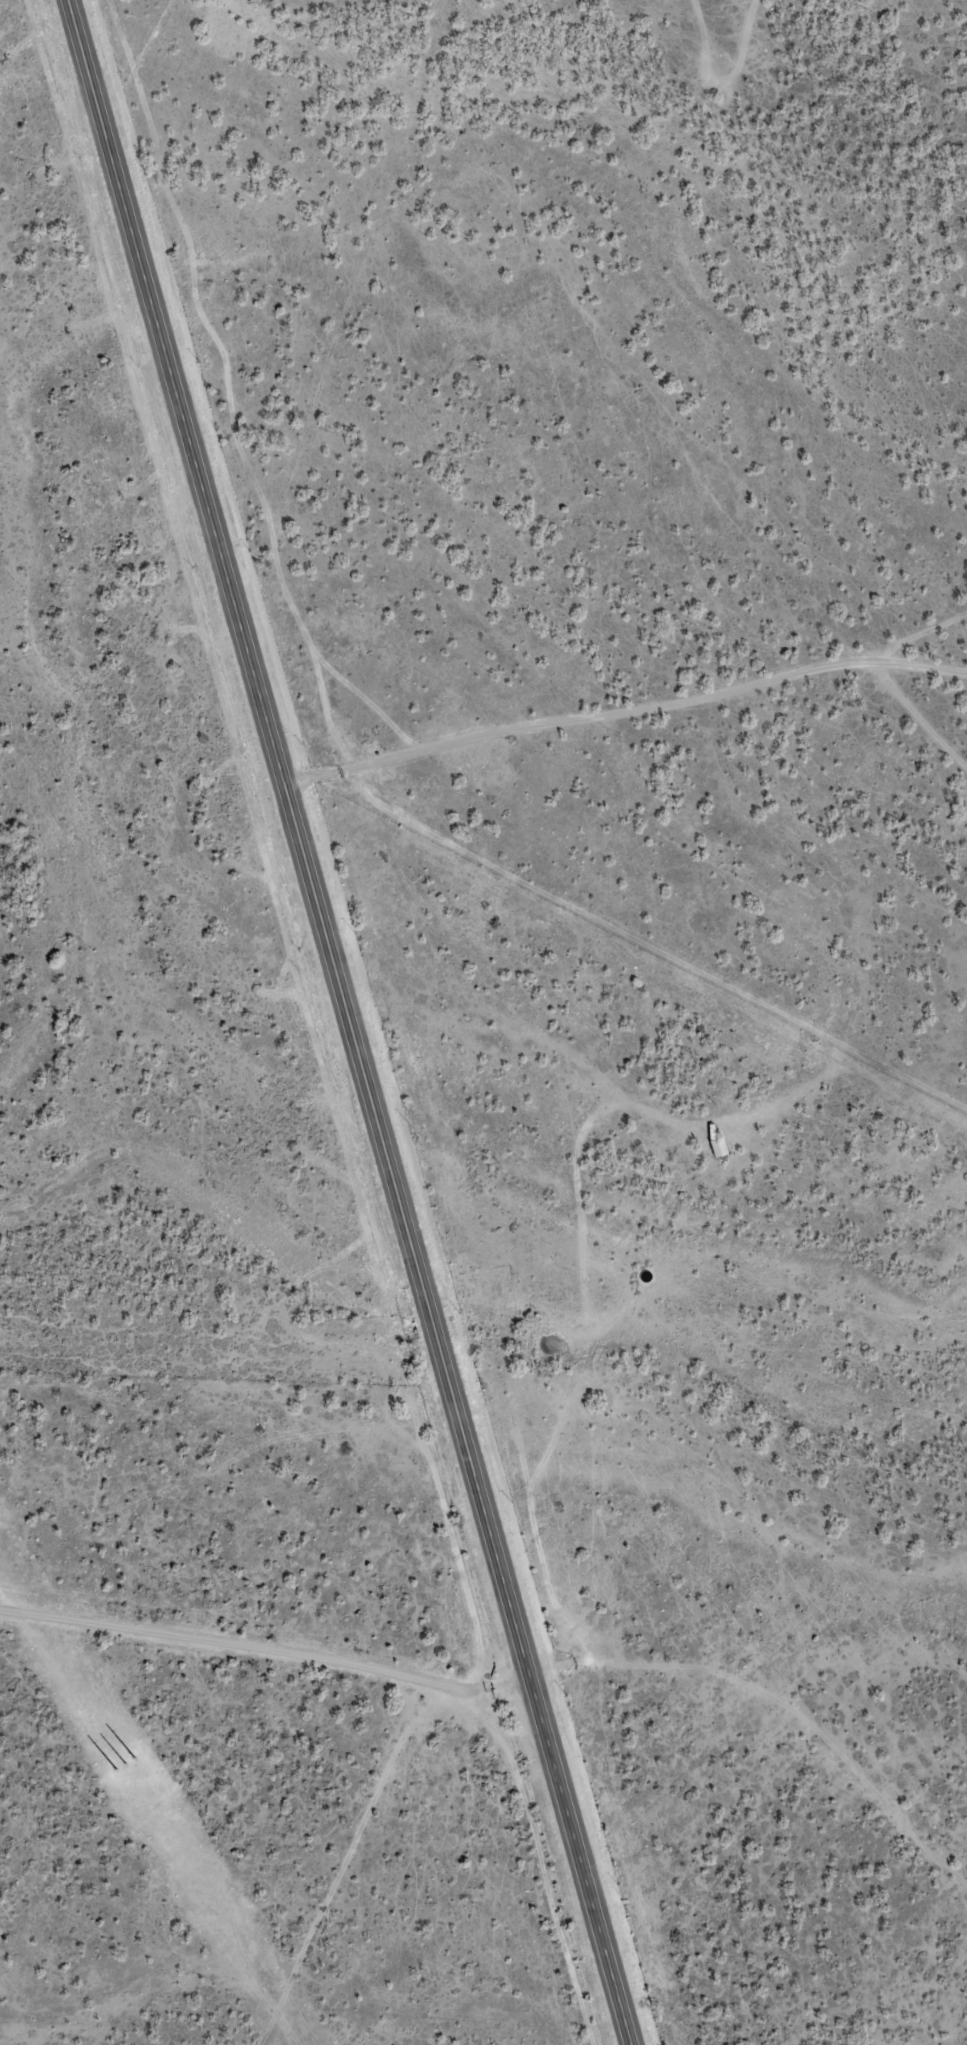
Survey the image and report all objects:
road: (349, 1022)
building: (720, 1147)
road: (215, 1648)
power tower: (126, 1774)
road: (346, 1818)

